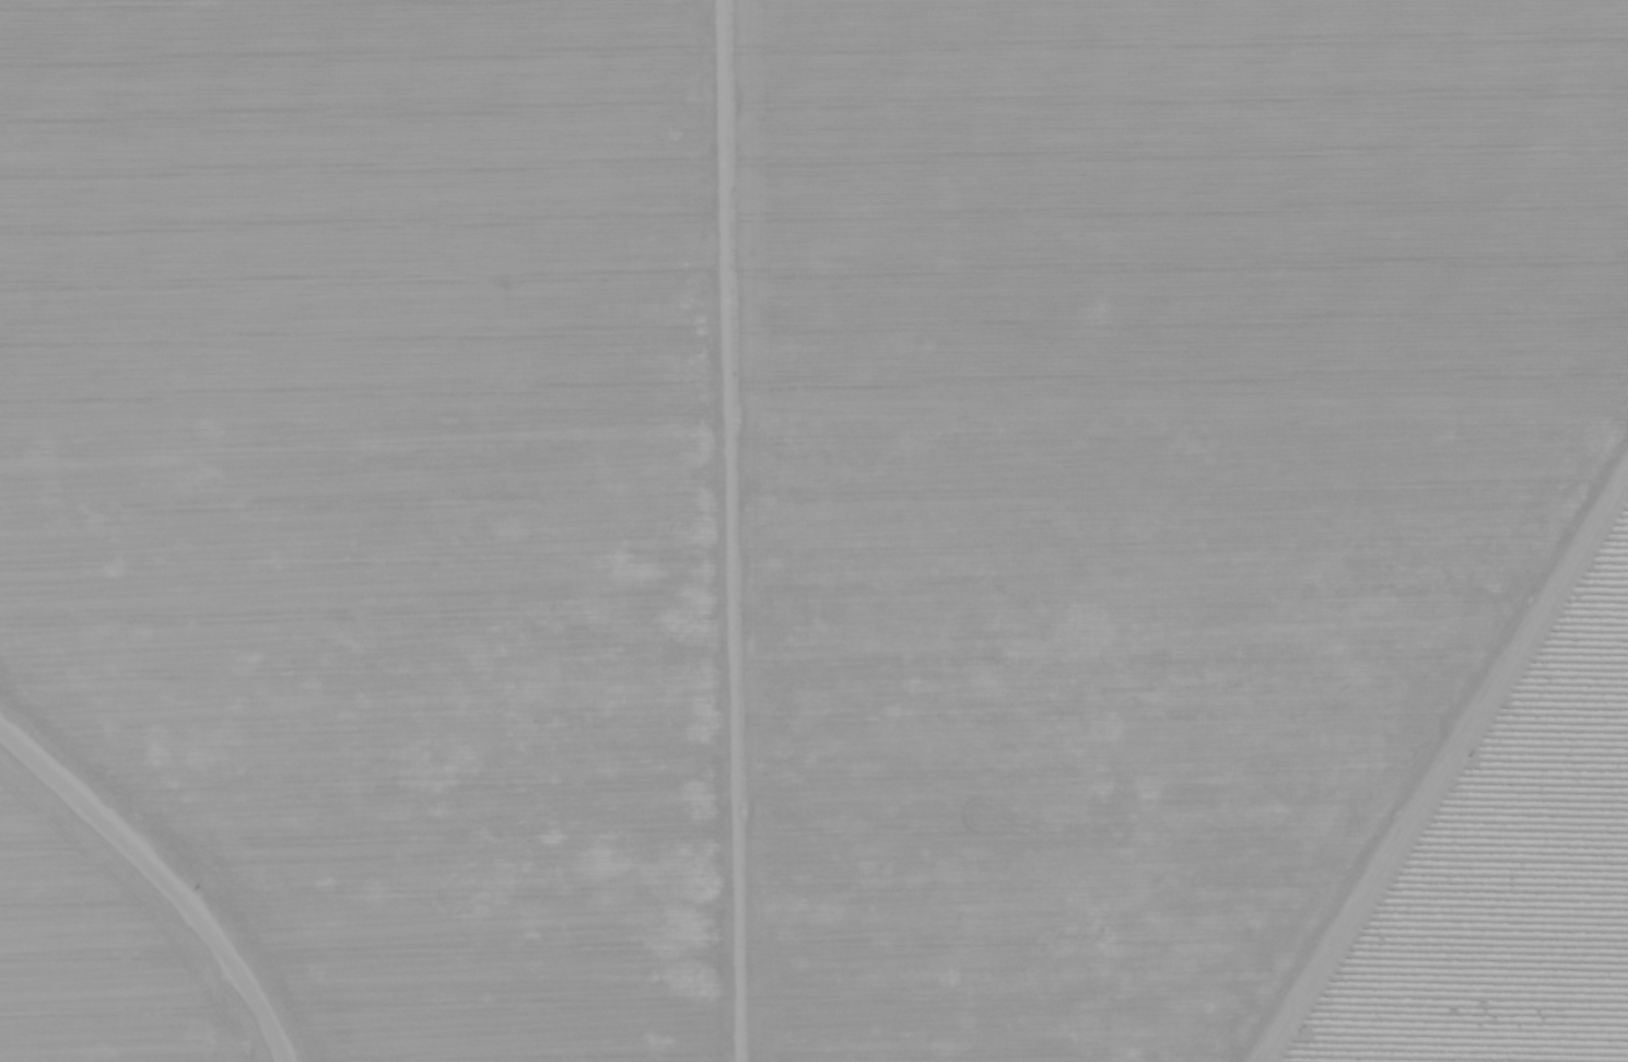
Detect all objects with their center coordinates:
crop: (768, 509)
road: (1460, 766)
road: (166, 879)

